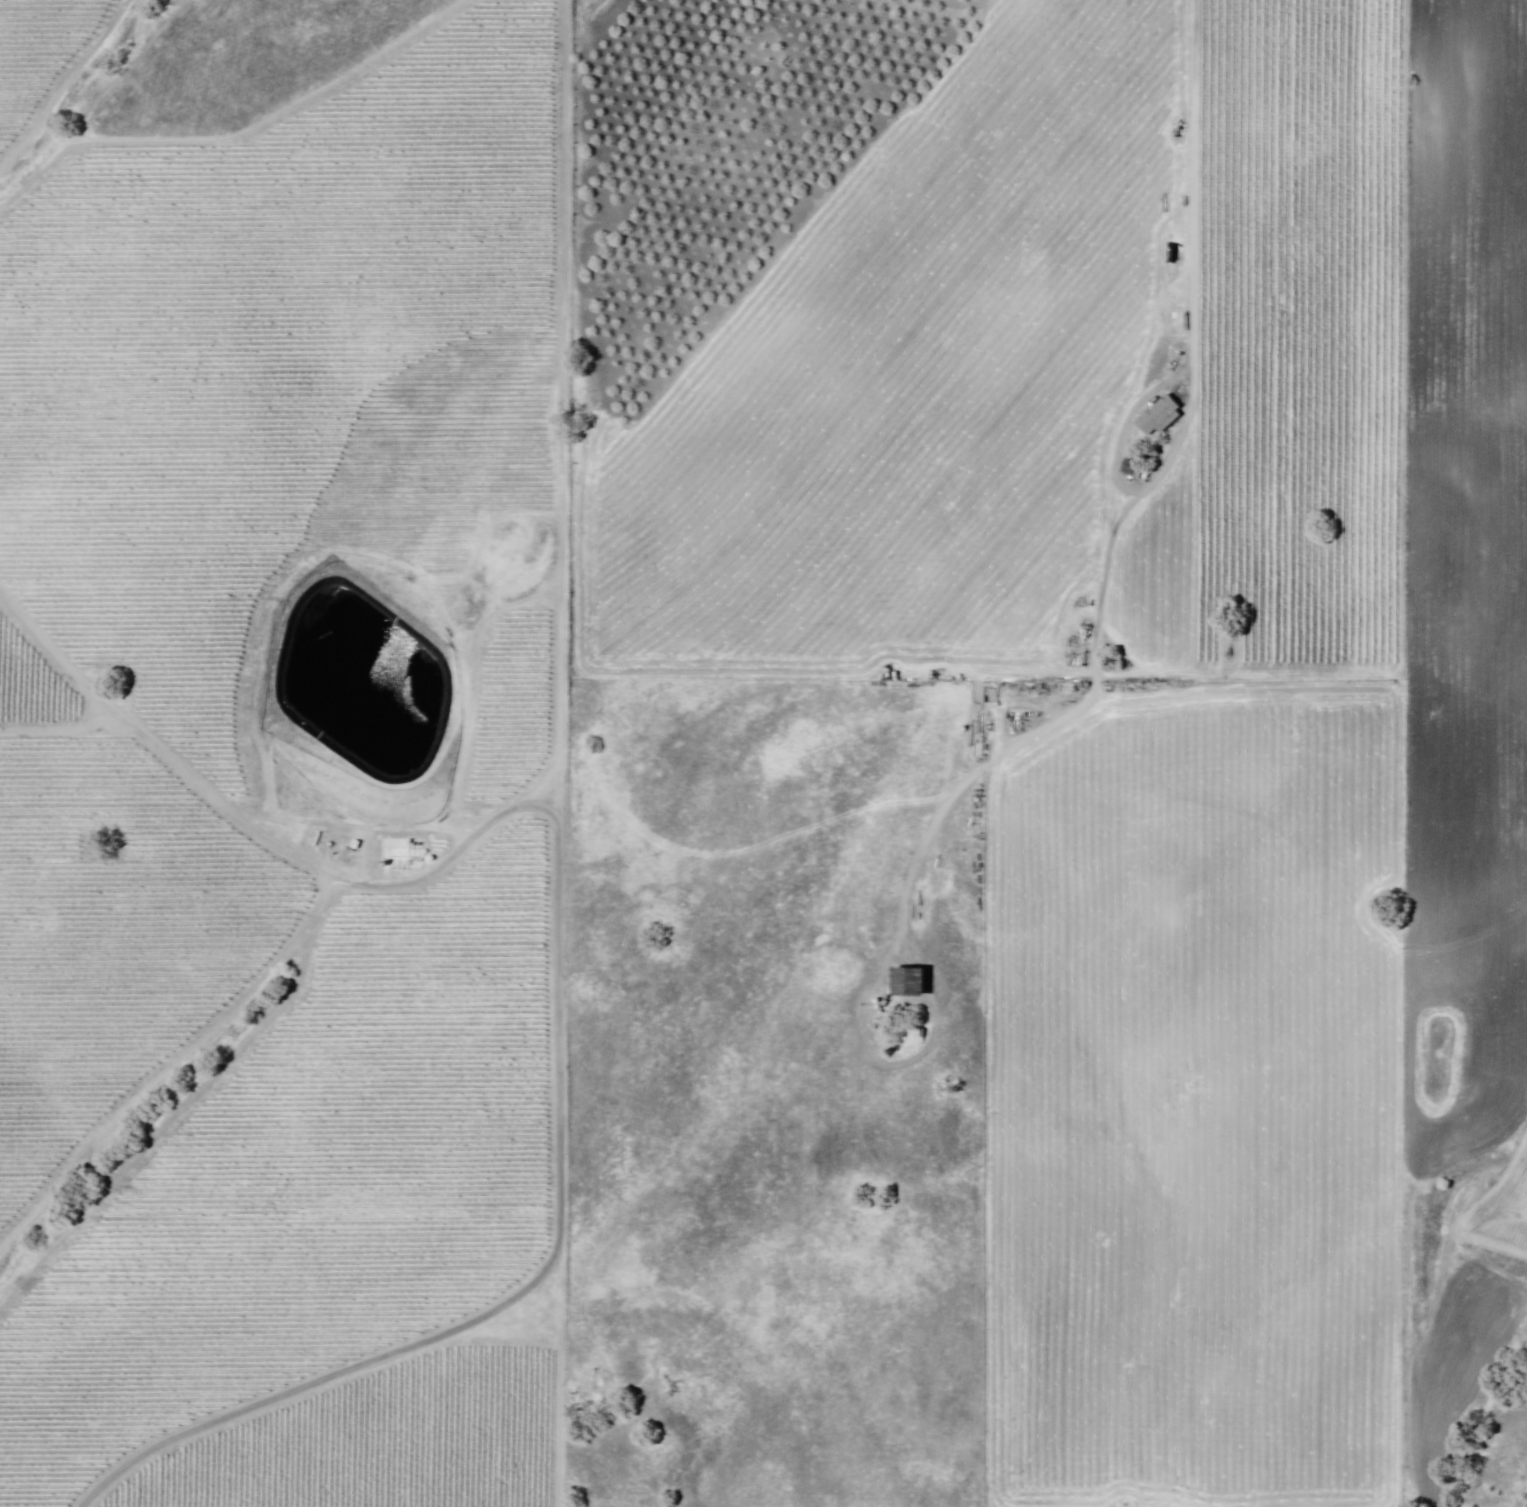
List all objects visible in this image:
building: (1159, 415)

